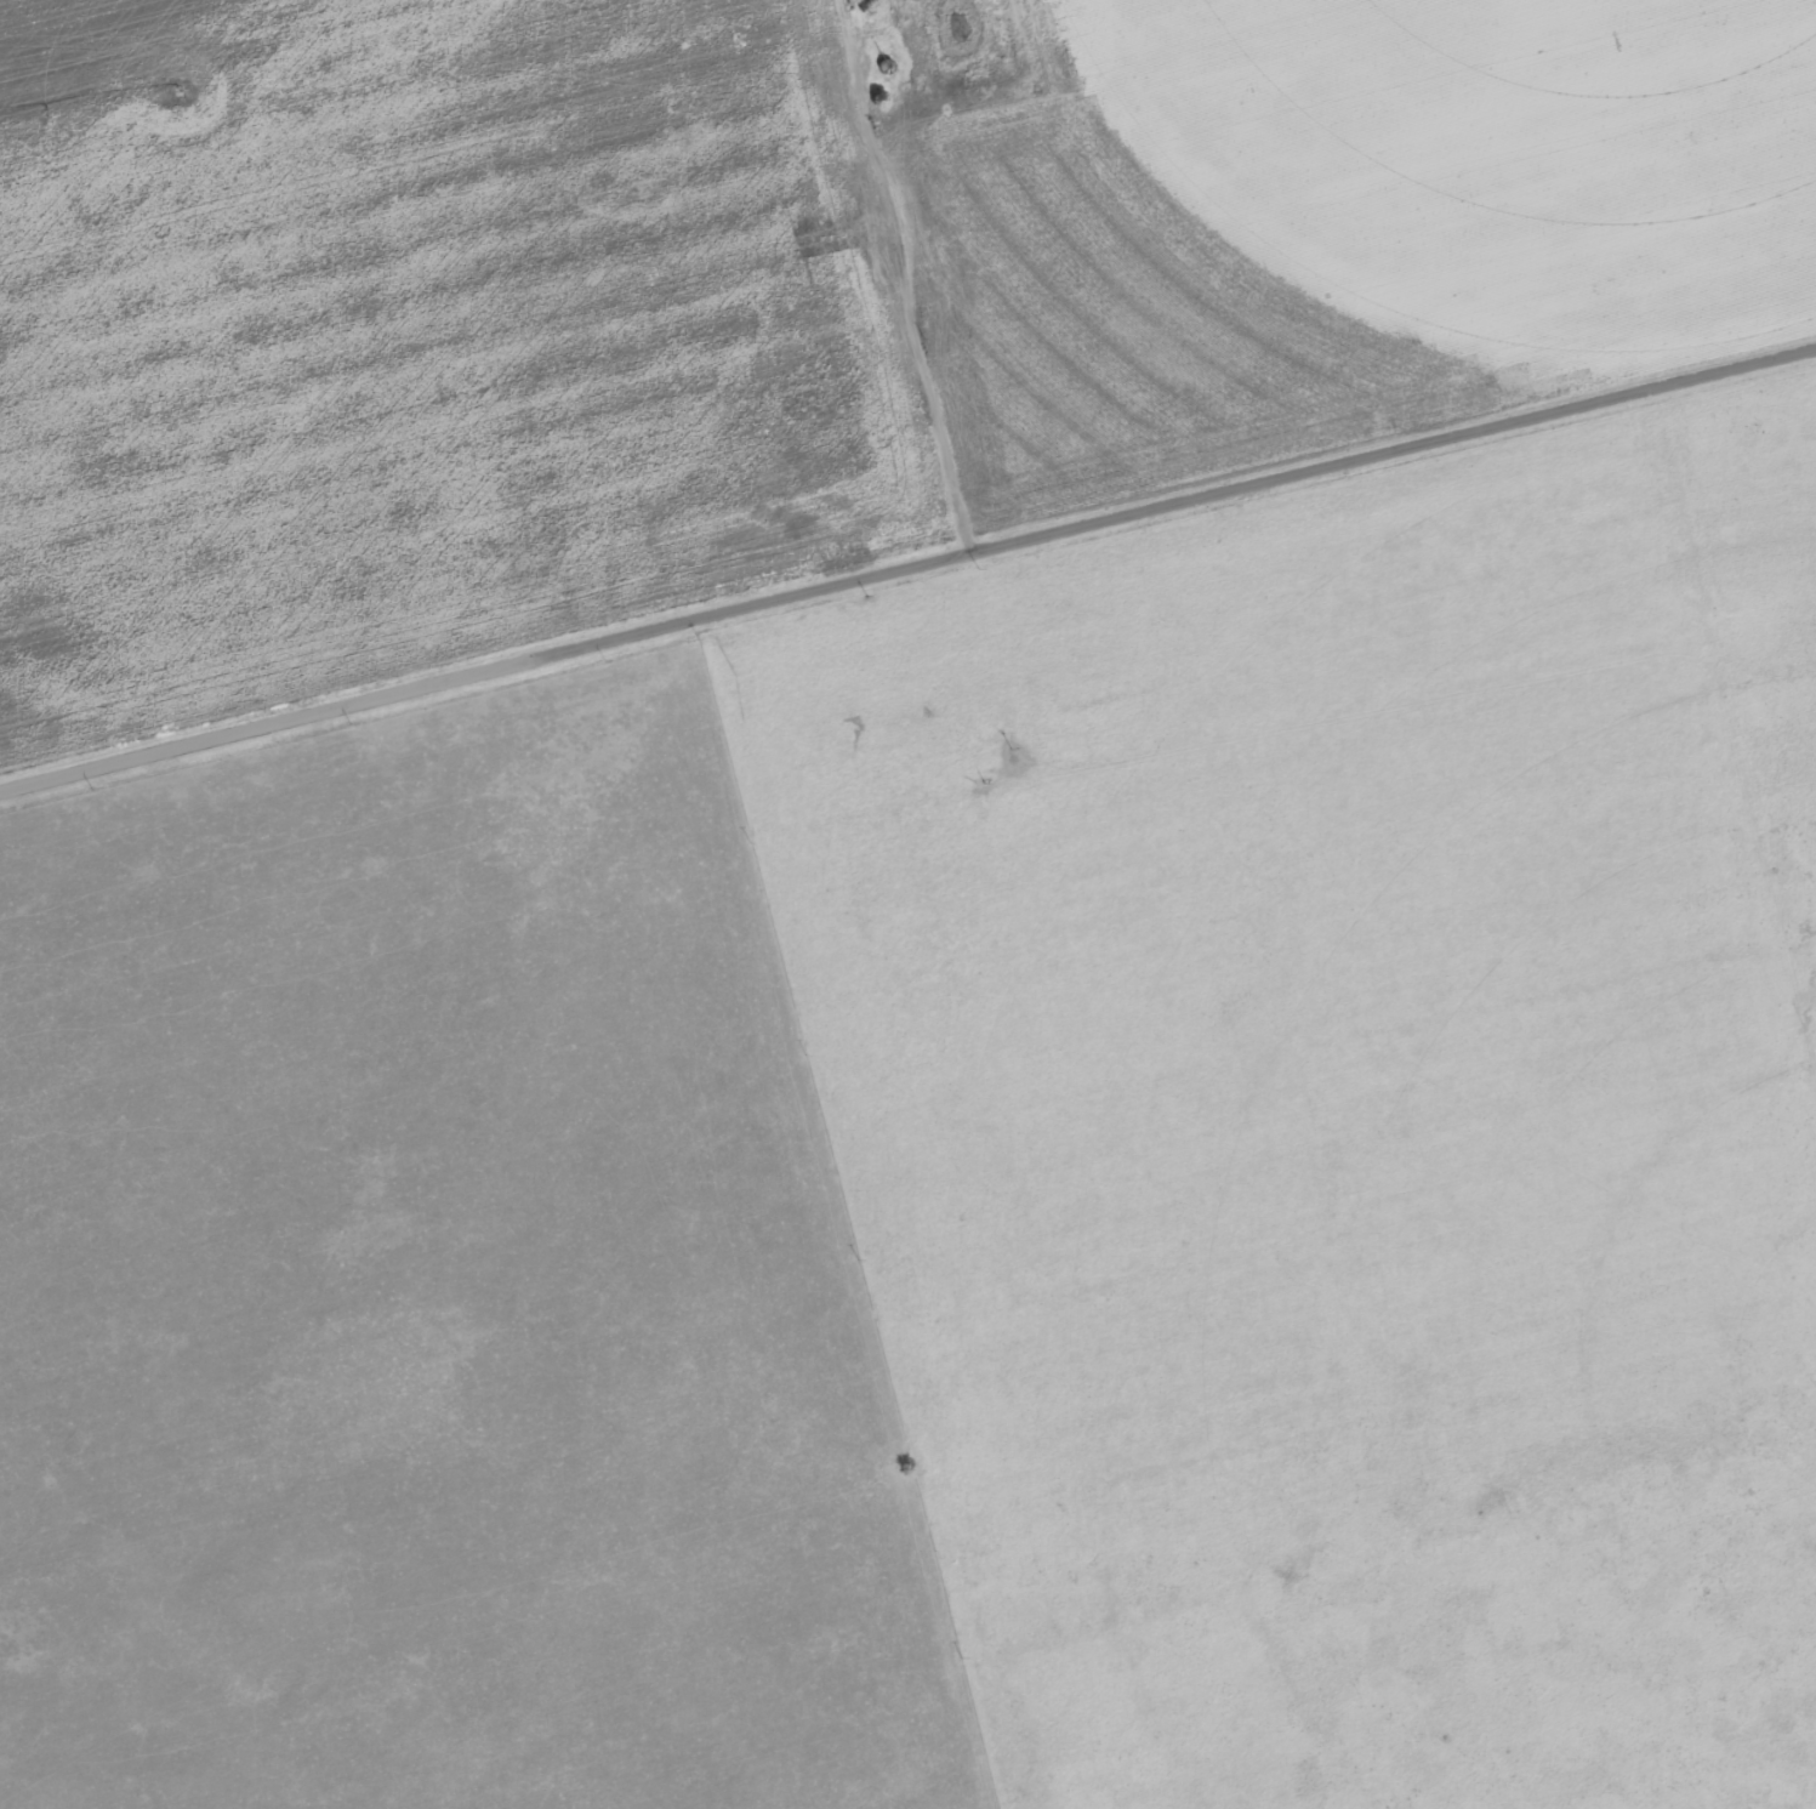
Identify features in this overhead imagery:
road: (901, 311)
road: (907, 575)
road: (1407, 1542)

